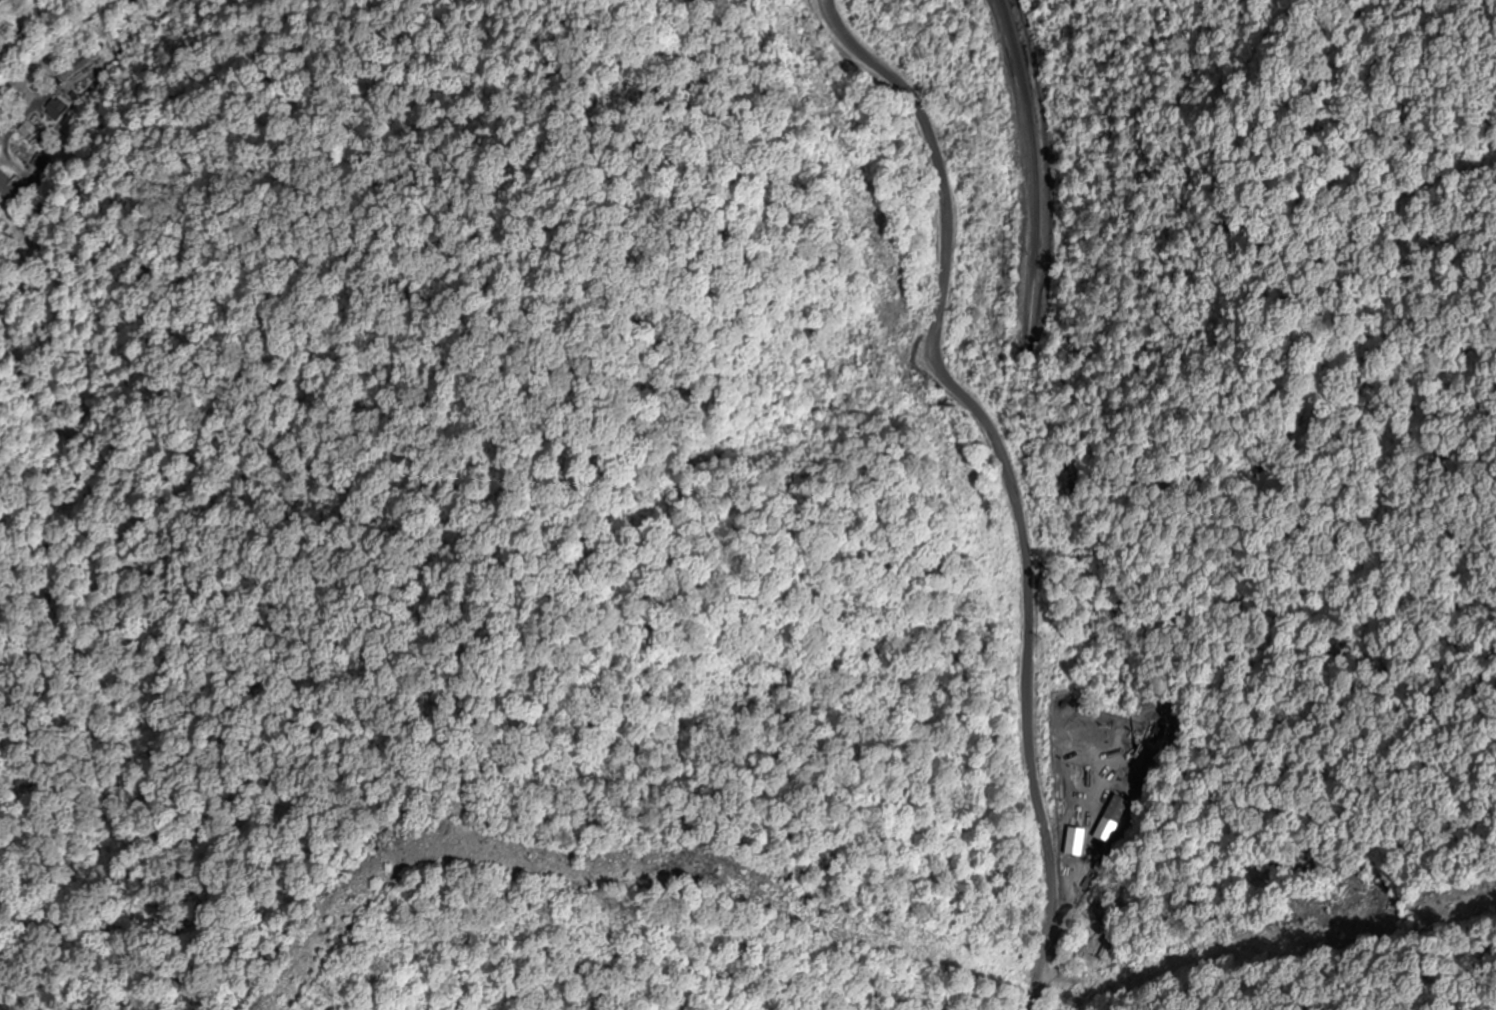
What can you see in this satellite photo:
building: (10, 1)
road: (26, 13)
building: (6, 29)
building: (77, 66)
building: (55, 109)
railway: (1032, 176)
building: (10, 191)
road: (999, 501)
building: (1117, 810)

